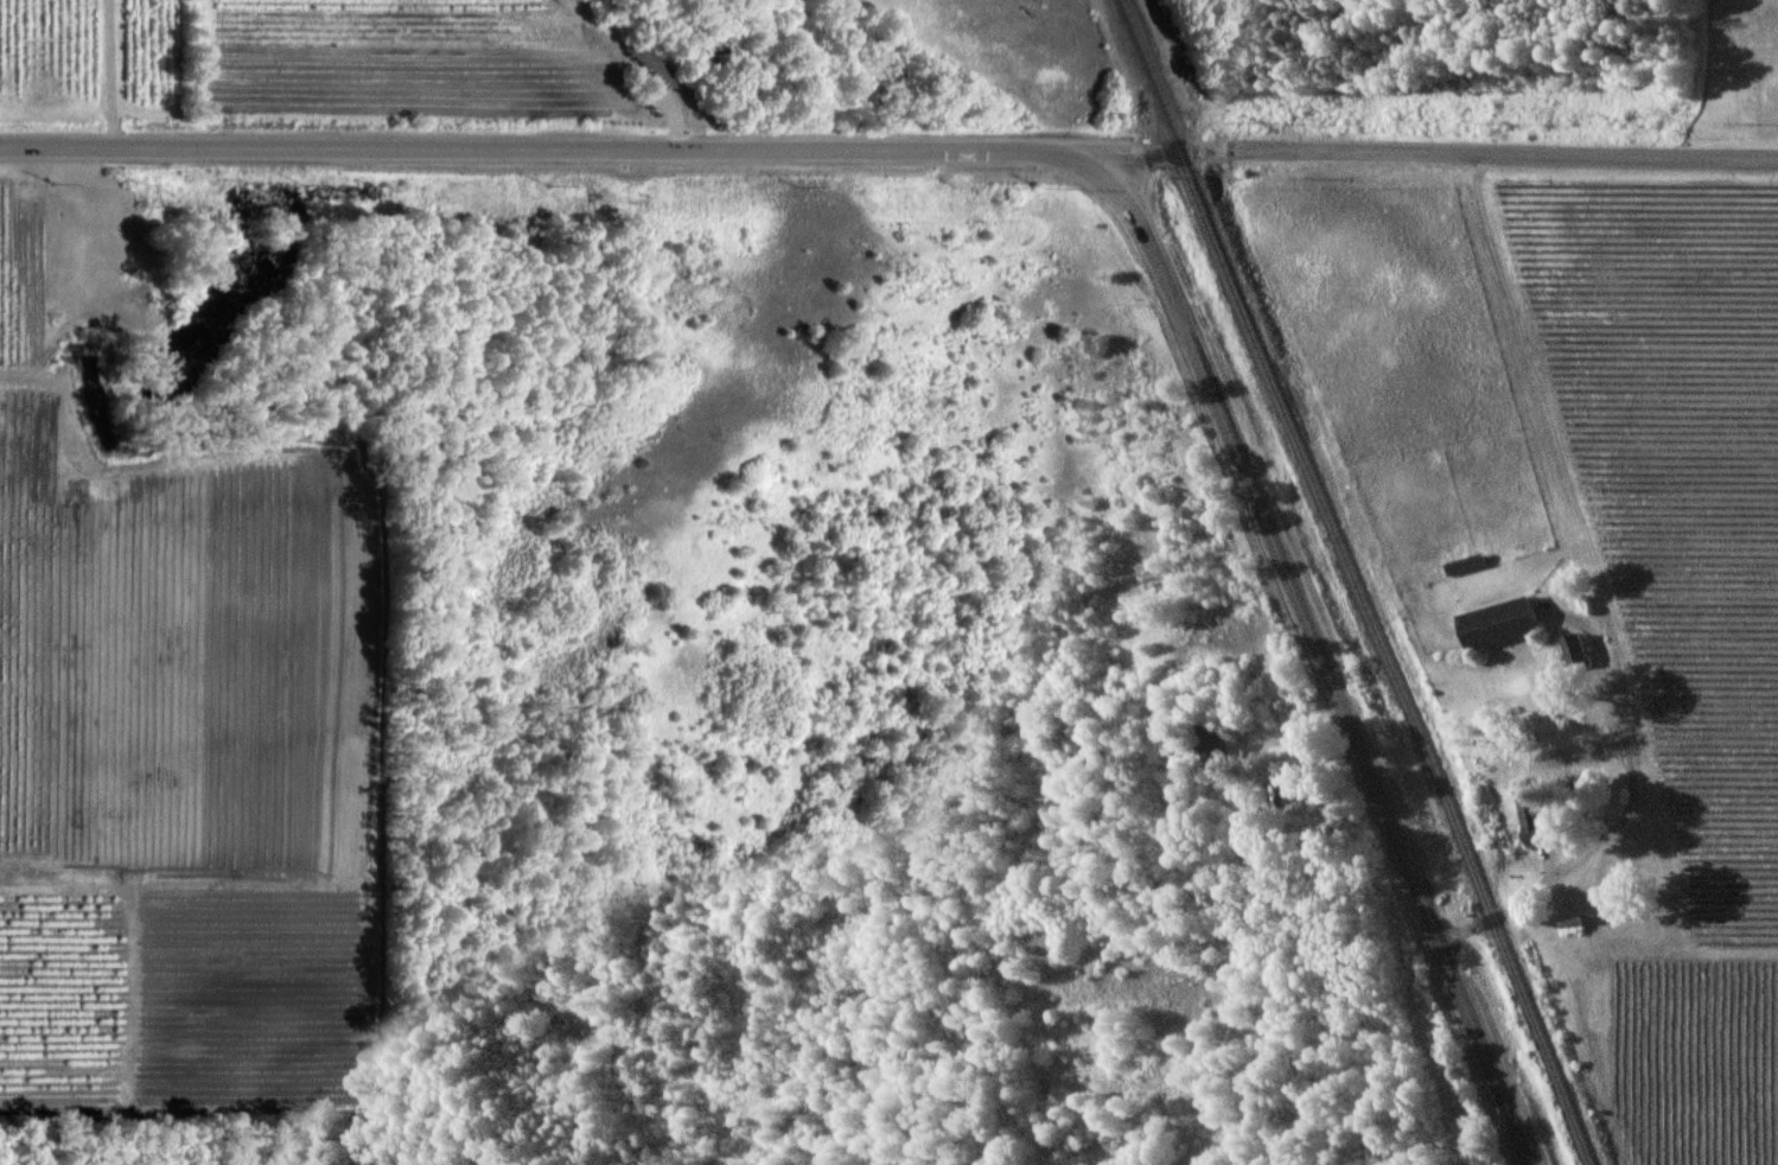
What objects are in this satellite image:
road: (110, 74)
railway: (1151, 77)
road: (527, 148)
road: (1415, 157)
building: (1496, 622)
road: (1313, 638)
building: (1572, 648)
railway: (1388, 660)
road: (1625, 814)
building: (1525, 820)

